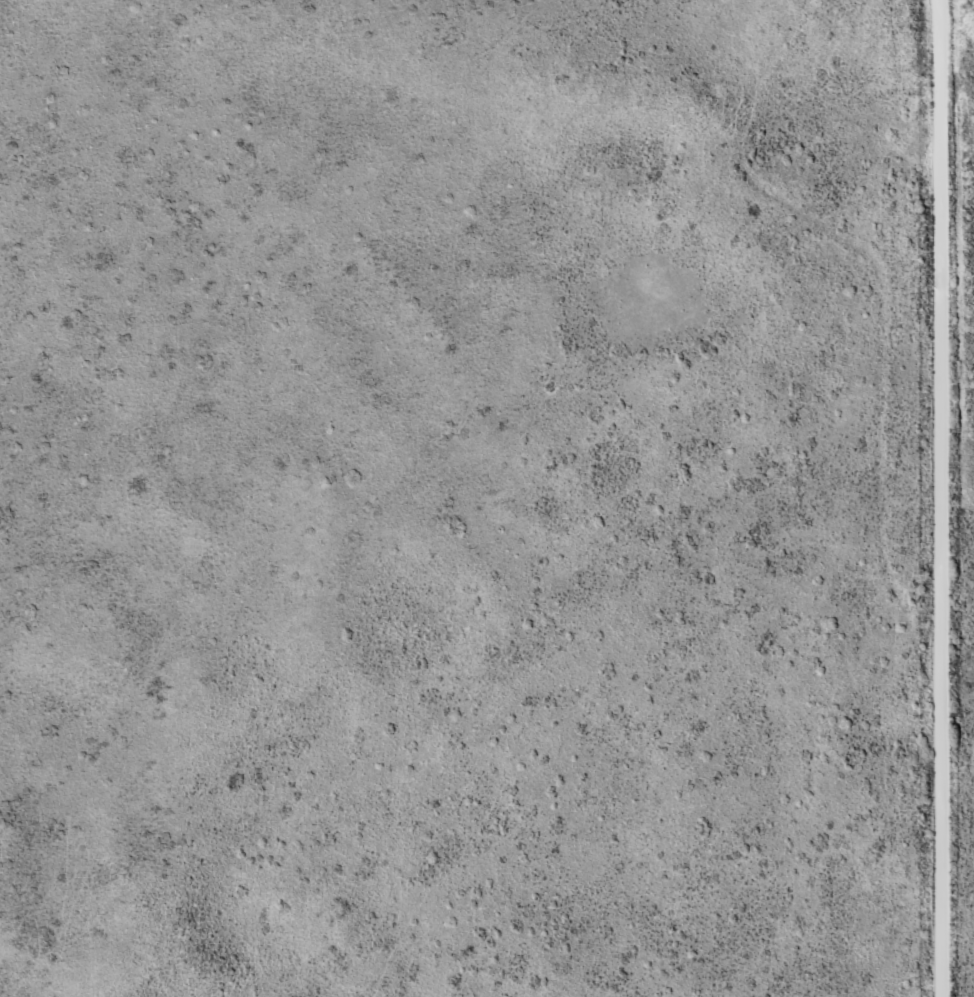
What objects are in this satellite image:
road: (941, 498)

